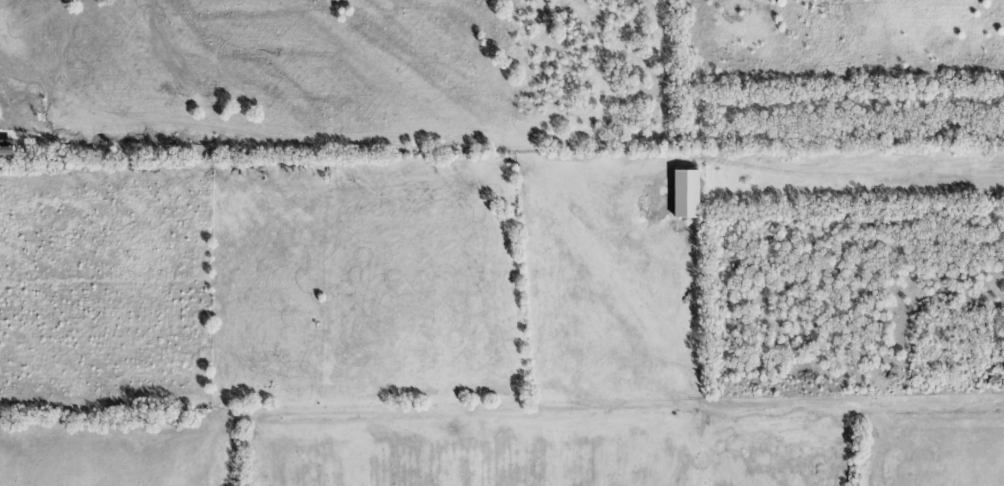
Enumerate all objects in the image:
building: (684, 195)

